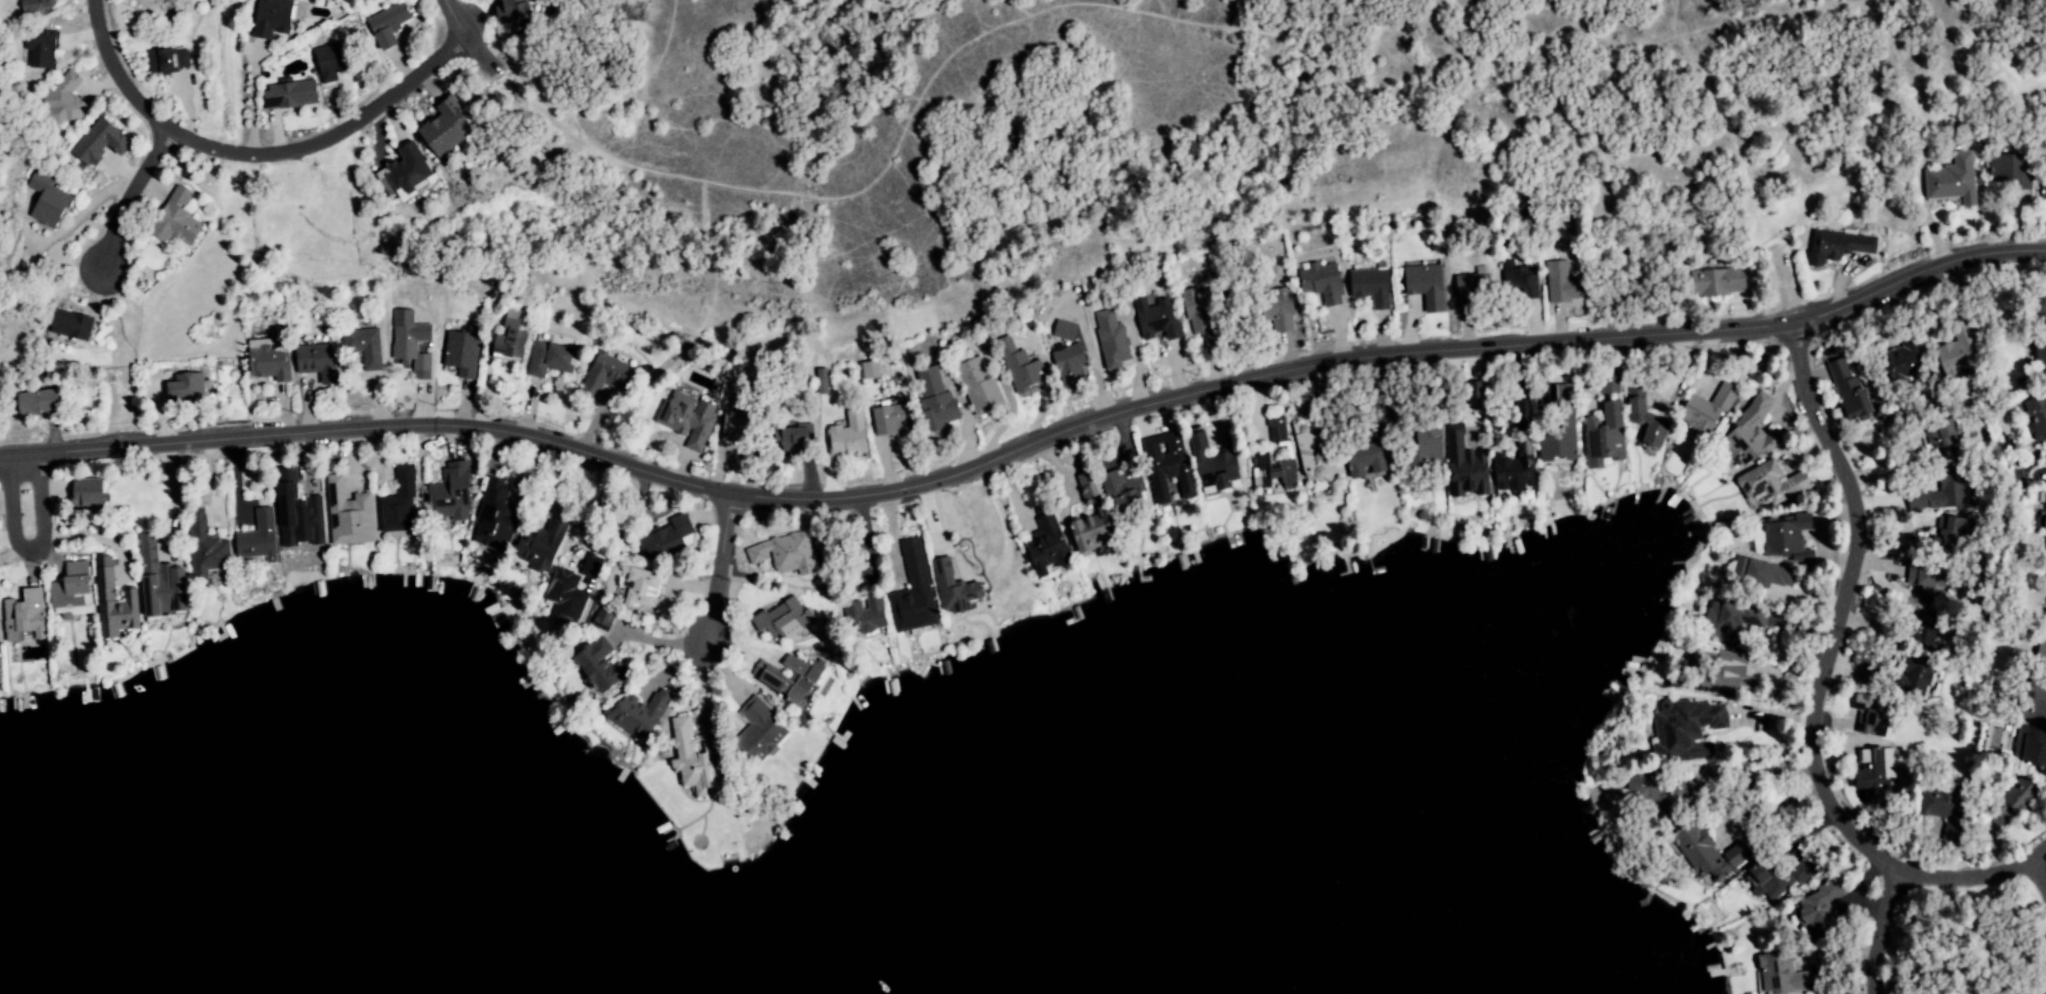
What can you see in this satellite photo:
building: (33, 6)
building: (509, 11)
building: (268, 18)
building: (385, 24)
road: (462, 35)
building: (40, 51)
building: (164, 60)
building: (325, 63)
building: (287, 95)
building: (64, 101)
building: (440, 128)
building: (100, 142)
road: (253, 153)
building: (403, 169)
building: (2006, 172)
building: (1950, 180)
road: (127, 196)
building: (44, 201)
building: (172, 220)
building: (1835, 246)
building: (1319, 280)
building: (1521, 283)
building: (1559, 283)
building: (1714, 283)
building: (1422, 285)
building: (1368, 287)
building: (1465, 292)
building: (1194, 310)
building: (1274, 310)
building: (1154, 320)
building: (69, 326)
building: (1062, 330)
building: (507, 336)
building: (1110, 340)
building: (409, 344)
building: (362, 346)
building: (461, 354)
building: (1952, 354)
building: (546, 359)
building: (263, 361)
building: (313, 361)
building: (1898, 363)
building: (1068, 366)
building: (1017, 367)
building: (868, 370)
building: (603, 375)
building: (820, 381)
building: (183, 385)
building: (1608, 385)
building: (976, 387)
building: (1845, 390)
building: (1472, 395)
building: (933, 399)
building: (36, 402)
building: (1705, 409)
building: (686, 420)
building: (887, 420)
building: (1643, 423)
building: (1275, 429)
building: (1559, 430)
building: (846, 434)
building: (1746, 435)
building: (1602, 436)
building: (791, 439)
building: (1945, 439)
building: (737, 441)
building: (1423, 445)
road: (1027, 446)
building: (1309, 457)
building: (1361, 460)
building: (1210, 464)
building: (1165, 465)
building: (1463, 465)
building: (1272, 471)
building: (1769, 483)
building: (1117, 490)
building: (84, 492)
building: (1935, 493)
building: (447, 494)
building: (397, 503)
road: (596, 512)
building: (346, 515)
building: (295, 516)
building: (492, 517)
building: (1089, 519)
building: (255, 538)
building: (1785, 538)
road: (27, 545)
building: (1043, 545)
building: (537, 546)
building: (203, 550)
building: (781, 555)
road: (715, 565)
building: (593, 568)
building: (1759, 576)
building: (156, 582)
building: (951, 588)
building: (65, 590)
building: (911, 591)
building: (644, 592)
building: (564, 596)
building: (111, 603)
building: (23, 616)
building: (863, 616)
building: (781, 618)
building: (1727, 618)
building: (1920, 631)
building: (0, 648)
building: (595, 665)
building: (1712, 673)
building: (1865, 673)
road: (1824, 674)
building: (1907, 675)
building: (787, 676)
building: (2030, 700)
building: (637, 714)
building: (1871, 719)
building: (1684, 730)
building: (756, 733)
building: (2032, 748)
building: (689, 762)
building: (1869, 777)
building: (2009, 803)
road: (1769, 805)
building: (1940, 812)
road: (2037, 852)
building: (1705, 854)
road: (2037, 874)
building: (1776, 877)
building: (1820, 908)
road: (1880, 930)
building: (1780, 974)

